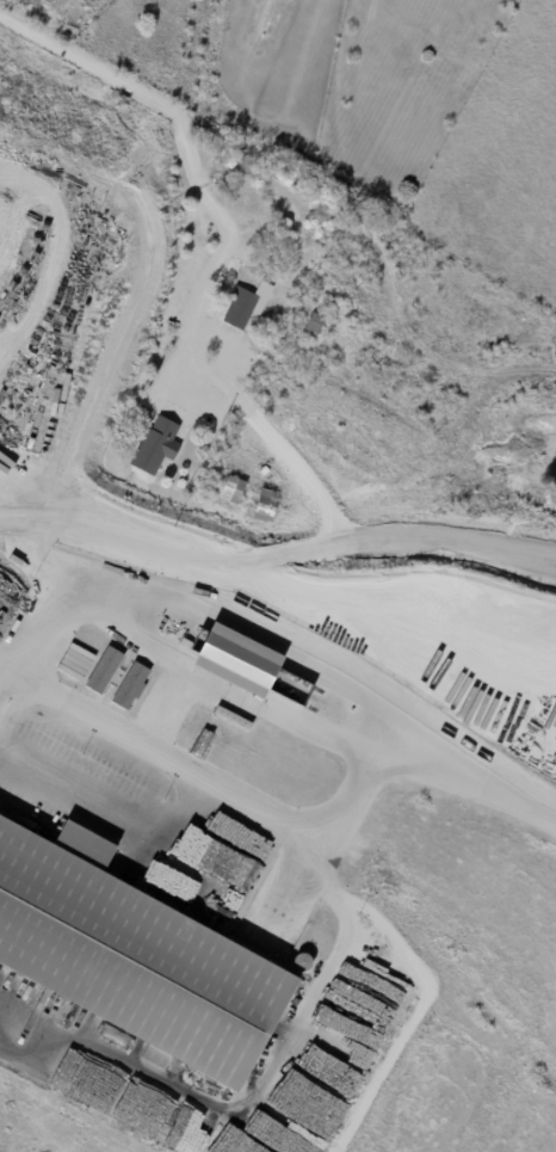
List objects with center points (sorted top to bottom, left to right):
building: (123, 100)
road: (227, 246)
building: (257, 298)
building: (316, 327)
building: (159, 448)
building: (233, 489)
road: (277, 547)
road: (289, 639)
building: (243, 660)
building: (105, 669)
building: (132, 684)
road: (206, 771)
building: (294, 944)
building: (135, 956)

